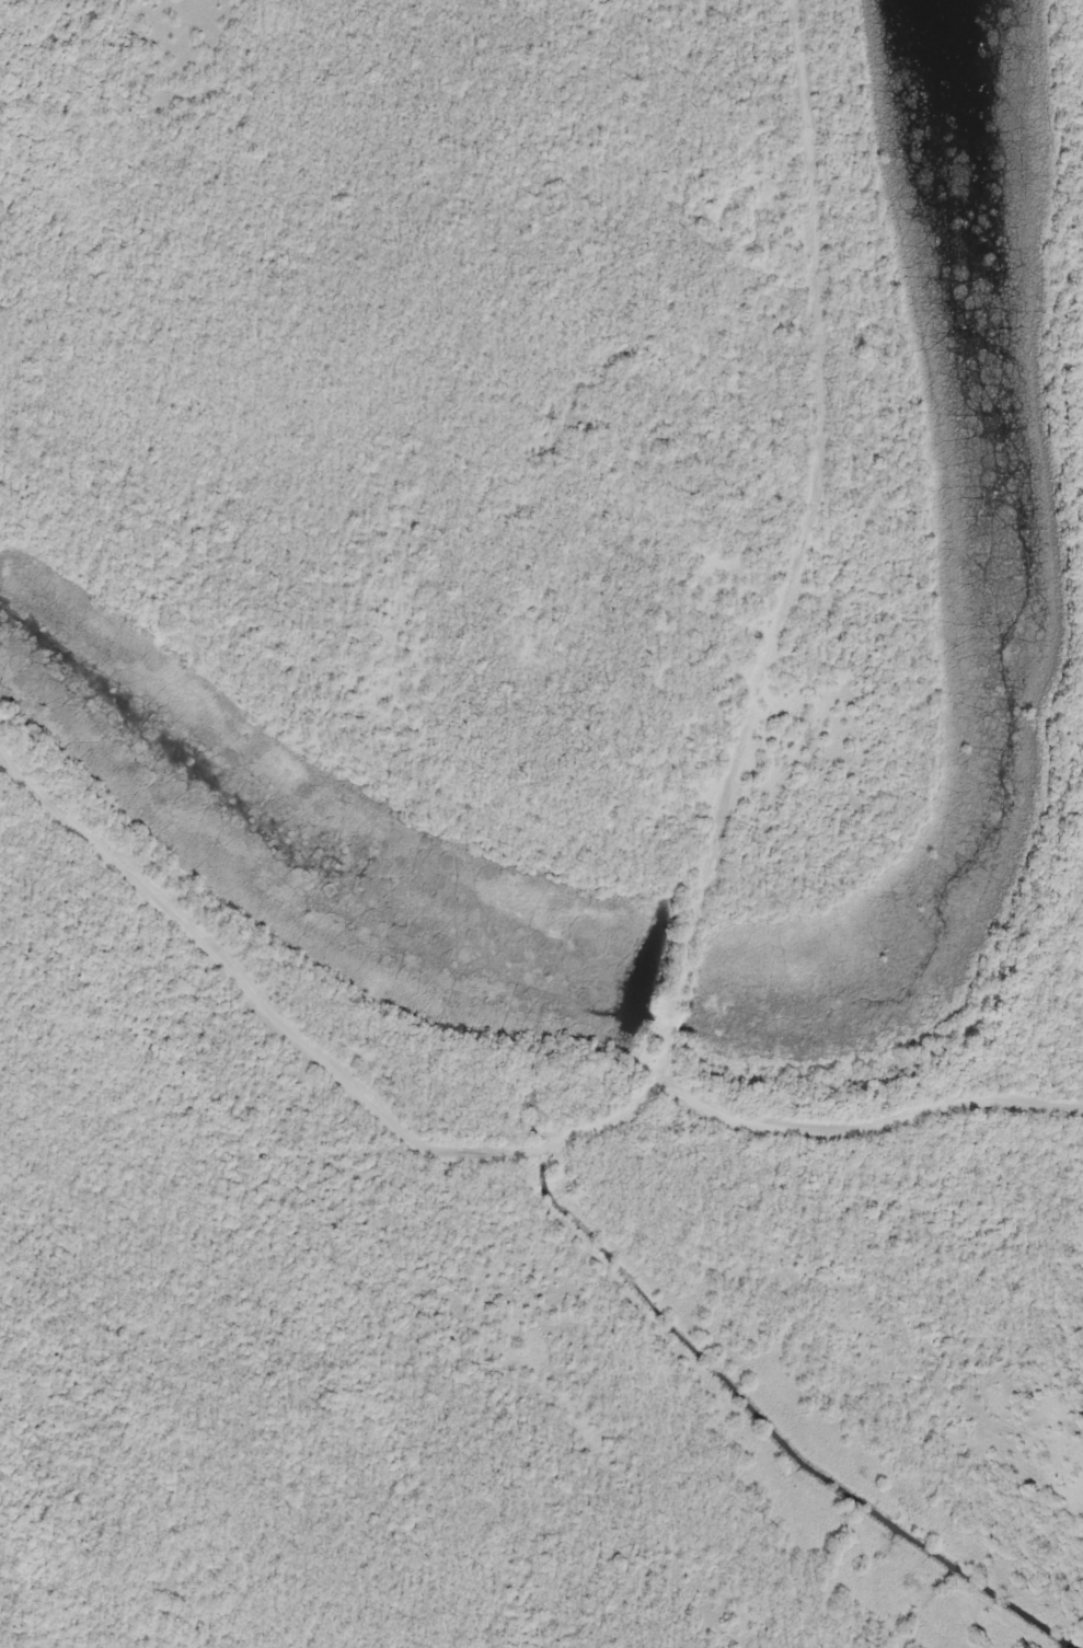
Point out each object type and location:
road: (66, 207)
river: (267, 775)
road: (528, 828)
road: (34, 1016)
road: (343, 1136)

